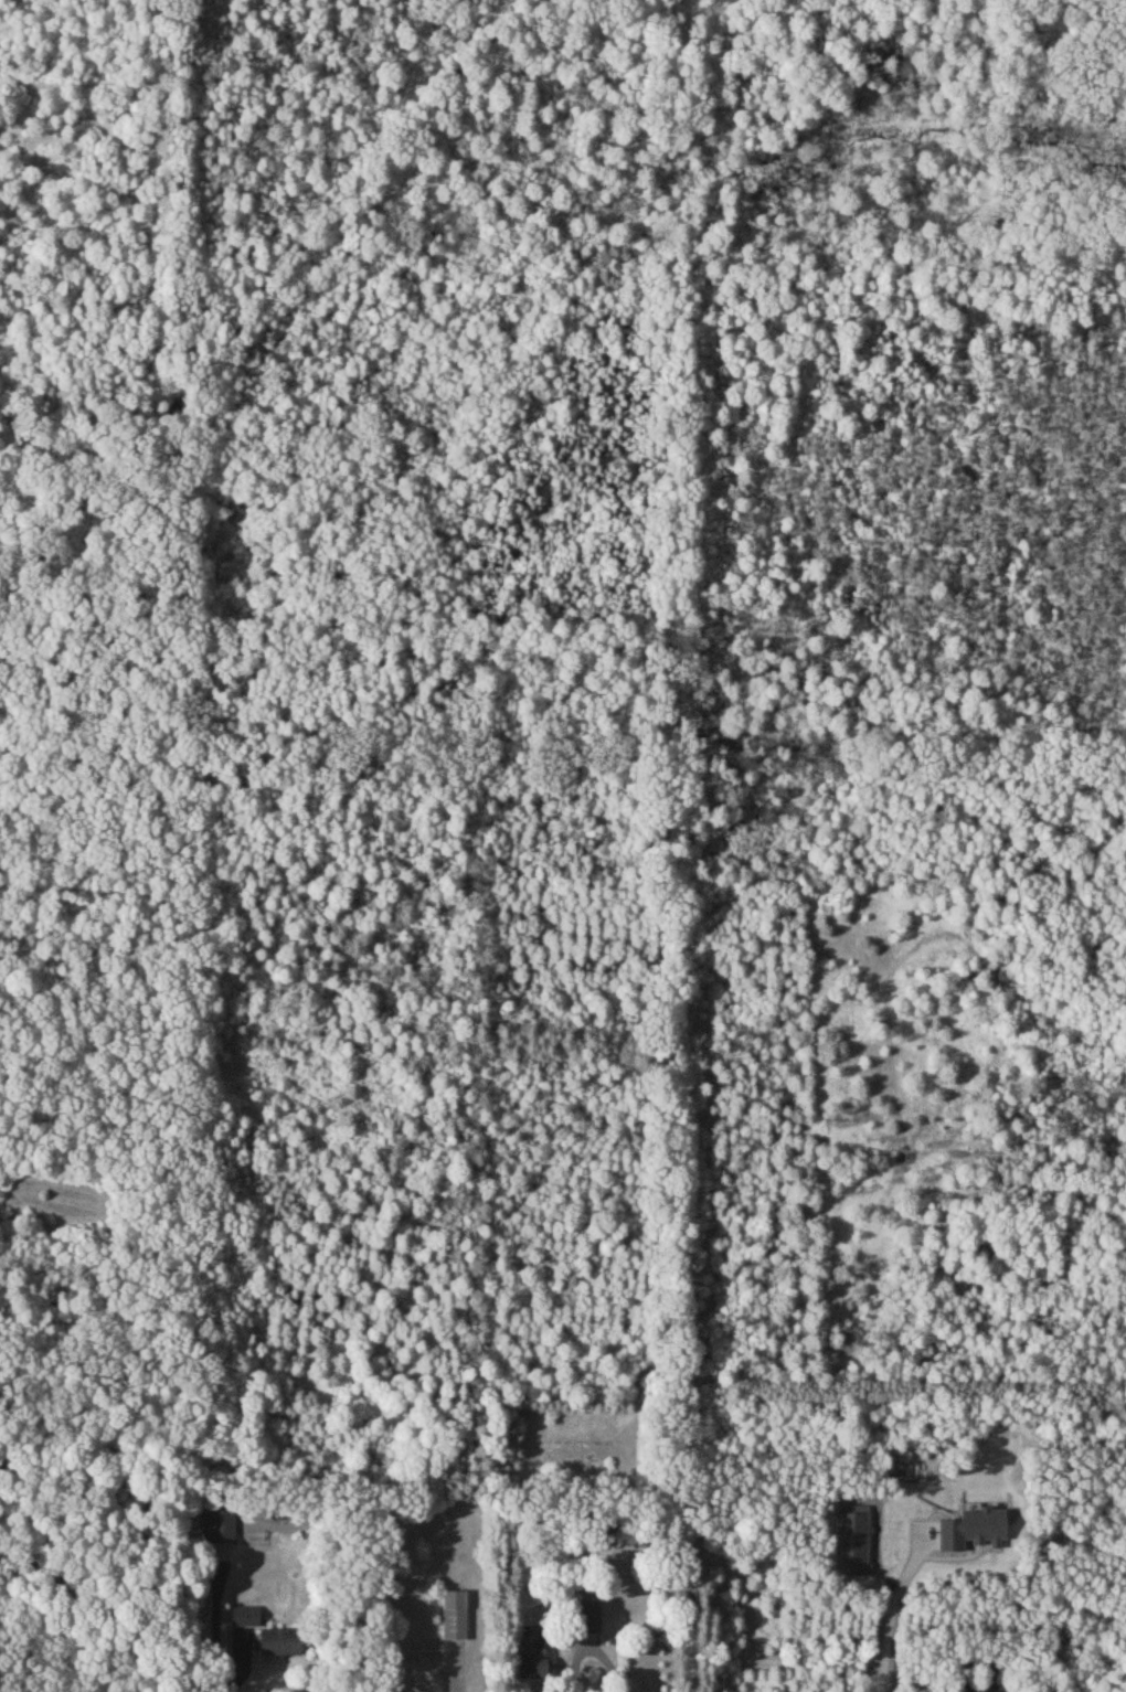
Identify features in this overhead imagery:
building: (217, 1523)
building: (971, 1528)
building: (850, 1539)
building: (454, 1613)
building: (244, 1614)
building: (586, 1615)
road: (888, 1630)
building: (278, 1641)
building: (532, 1650)
road: (592, 1650)

